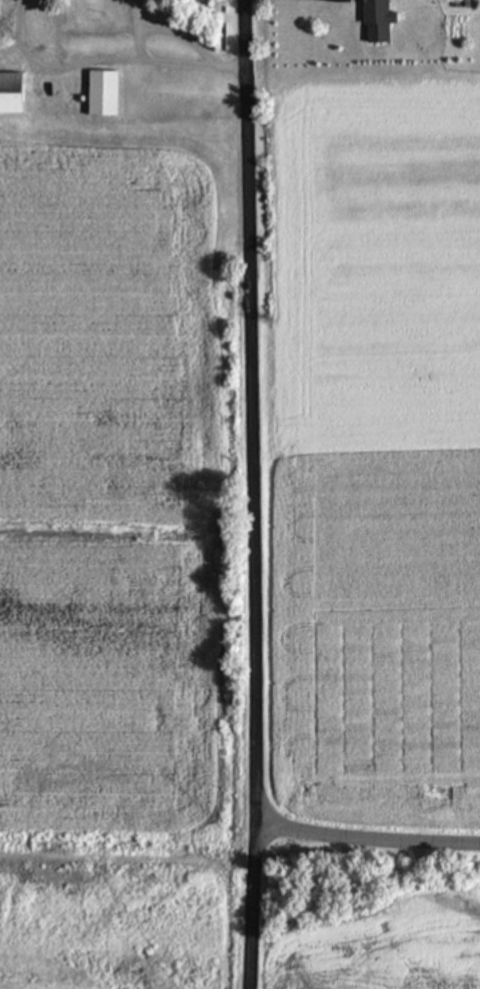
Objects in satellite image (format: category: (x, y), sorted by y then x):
building: (375, 20)
building: (9, 92)
building: (100, 92)
road: (251, 494)
road: (367, 841)

